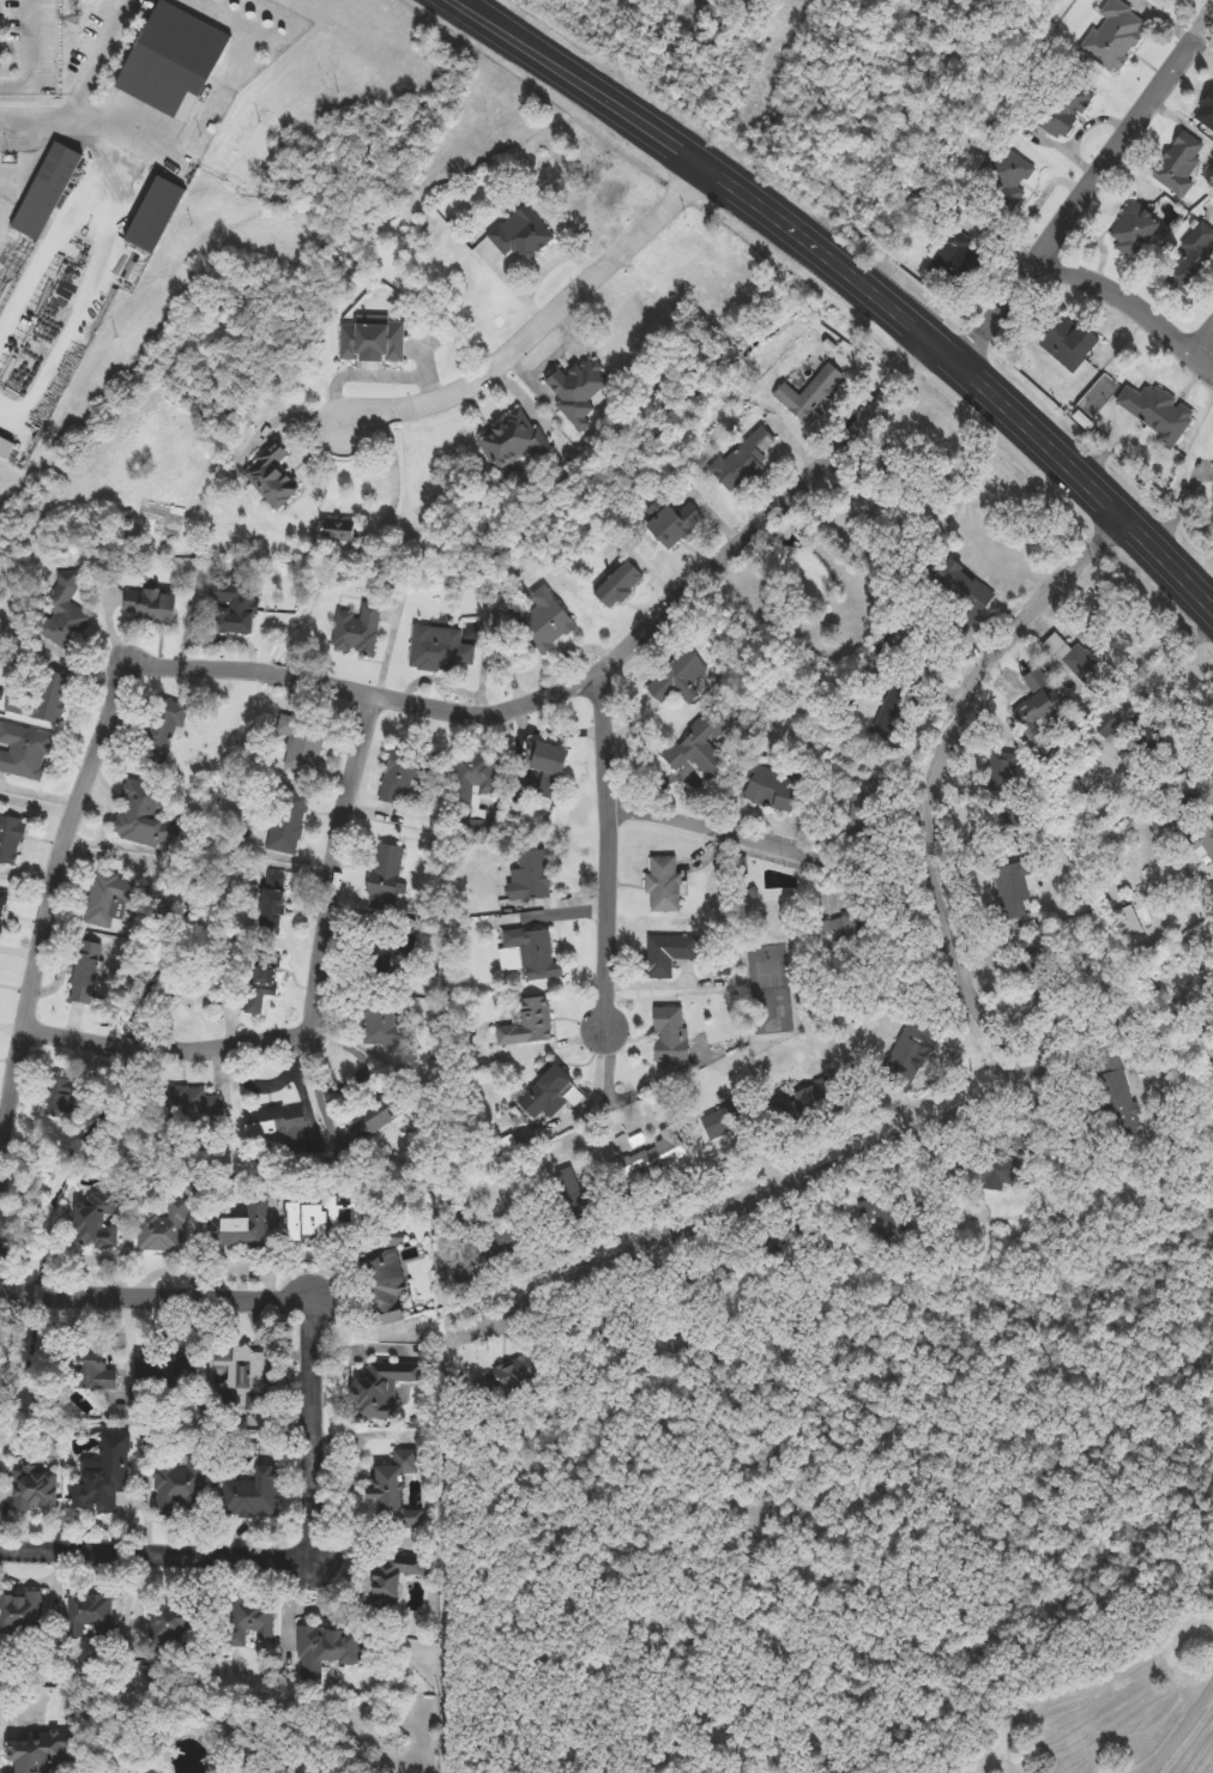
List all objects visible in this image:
road: (1208, 25)
building: (1117, 34)
parking lot: (30, 41)
road: (34, 56)
road: (103, 58)
building: (174, 61)
road: (585, 83)
building: (1207, 113)
building: (1061, 114)
road: (83, 119)
building: (1181, 165)
building: (1006, 175)
building: (47, 192)
road: (1082, 198)
building: (156, 216)
building: (1137, 227)
building: (523, 235)
road: (58, 240)
building: (958, 260)
building: (1191, 261)
road: (90, 296)
road: (1130, 302)
road: (539, 325)
road: (1206, 339)
building: (374, 340)
building: (1070, 343)
road: (971, 373)
building: (579, 392)
building: (808, 394)
building: (1157, 410)
building: (513, 442)
building: (6, 448)
building: (747, 459)
building: (272, 477)
building: (674, 525)
building: (339, 530)
building: (620, 586)
building: (965, 589)
building: (151, 607)
building: (233, 610)
building: (64, 616)
building: (547, 622)
building: (356, 634)
building: (441, 650)
building: (1075, 659)
road: (285, 675)
building: (678, 679)
building: (46, 699)
building: (1046, 710)
building: (895, 714)
building: (162, 732)
building: (308, 748)
building: (701, 748)
building: (24, 752)
building: (549, 770)
building: (405, 773)
building: (1002, 774)
road: (1194, 782)
building: (476, 788)
building: (773, 789)
building: (865, 813)
building: (146, 815)
building: (289, 822)
road: (940, 830)
building: (11, 839)
building: (1208, 844)
road: (778, 845)
road: (609, 854)
building: (385, 879)
building: (533, 879)
building: (665, 886)
building: (1014, 886)
building: (750, 892)
building: (108, 899)
building: (272, 901)
building: (2, 910)
building: (1131, 923)
building: (846, 934)
building: (386, 952)
building: (533, 954)
building: (670, 954)
building: (723, 967)
building: (87, 972)
building: (1046, 982)
park: (767, 987)
building: (259, 990)
road: (319, 1005)
building: (386, 1023)
building: (527, 1024)
building: (671, 1036)
building: (911, 1048)
building: (68, 1094)
building: (551, 1094)
building: (801, 1102)
building: (198, 1105)
building: (1124, 1108)
building: (381, 1112)
building: (722, 1123)
building: (280, 1128)
building: (653, 1159)
building: (994, 1172)
building: (569, 1192)
road: (740, 1212)
building: (882, 1219)
building: (97, 1220)
building: (321, 1220)
building: (164, 1228)
building: (243, 1229)
building: (478, 1247)
building: (781, 1253)
building: (387, 1278)
building: (690, 1289)
road: (157, 1299)
building: (601, 1332)
building: (168, 1367)
building: (90, 1369)
building: (241, 1371)
building: (506, 1379)
building: (382, 1389)
road: (316, 1431)
building: (104, 1477)
building: (182, 1488)
building: (394, 1488)
building: (35, 1489)
building: (254, 1496)
road: (445, 1554)
road: (159, 1556)
building: (392, 1578)
building: (22, 1614)
building: (91, 1617)
building: (252, 1621)
building: (170, 1626)
building: (326, 1650)
road: (1183, 1733)
building: (43, 1753)

